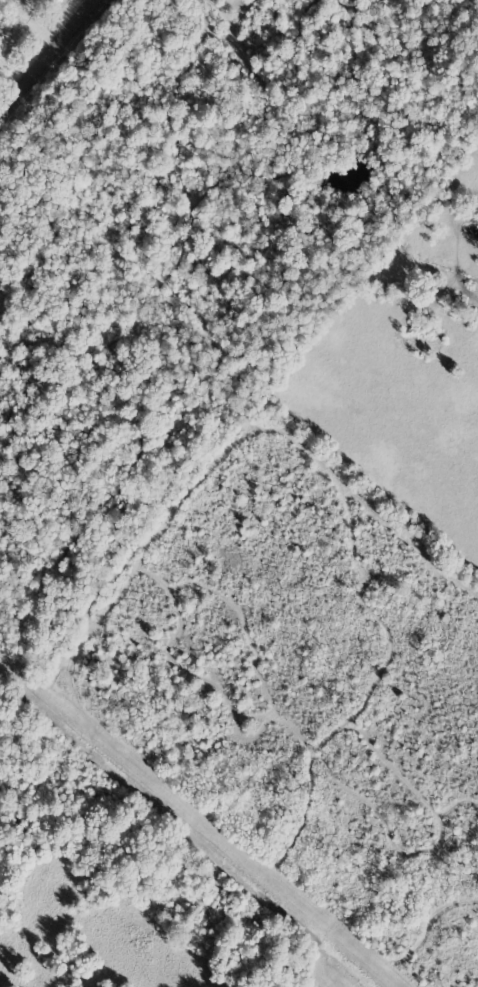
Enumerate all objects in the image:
road: (48, 58)

